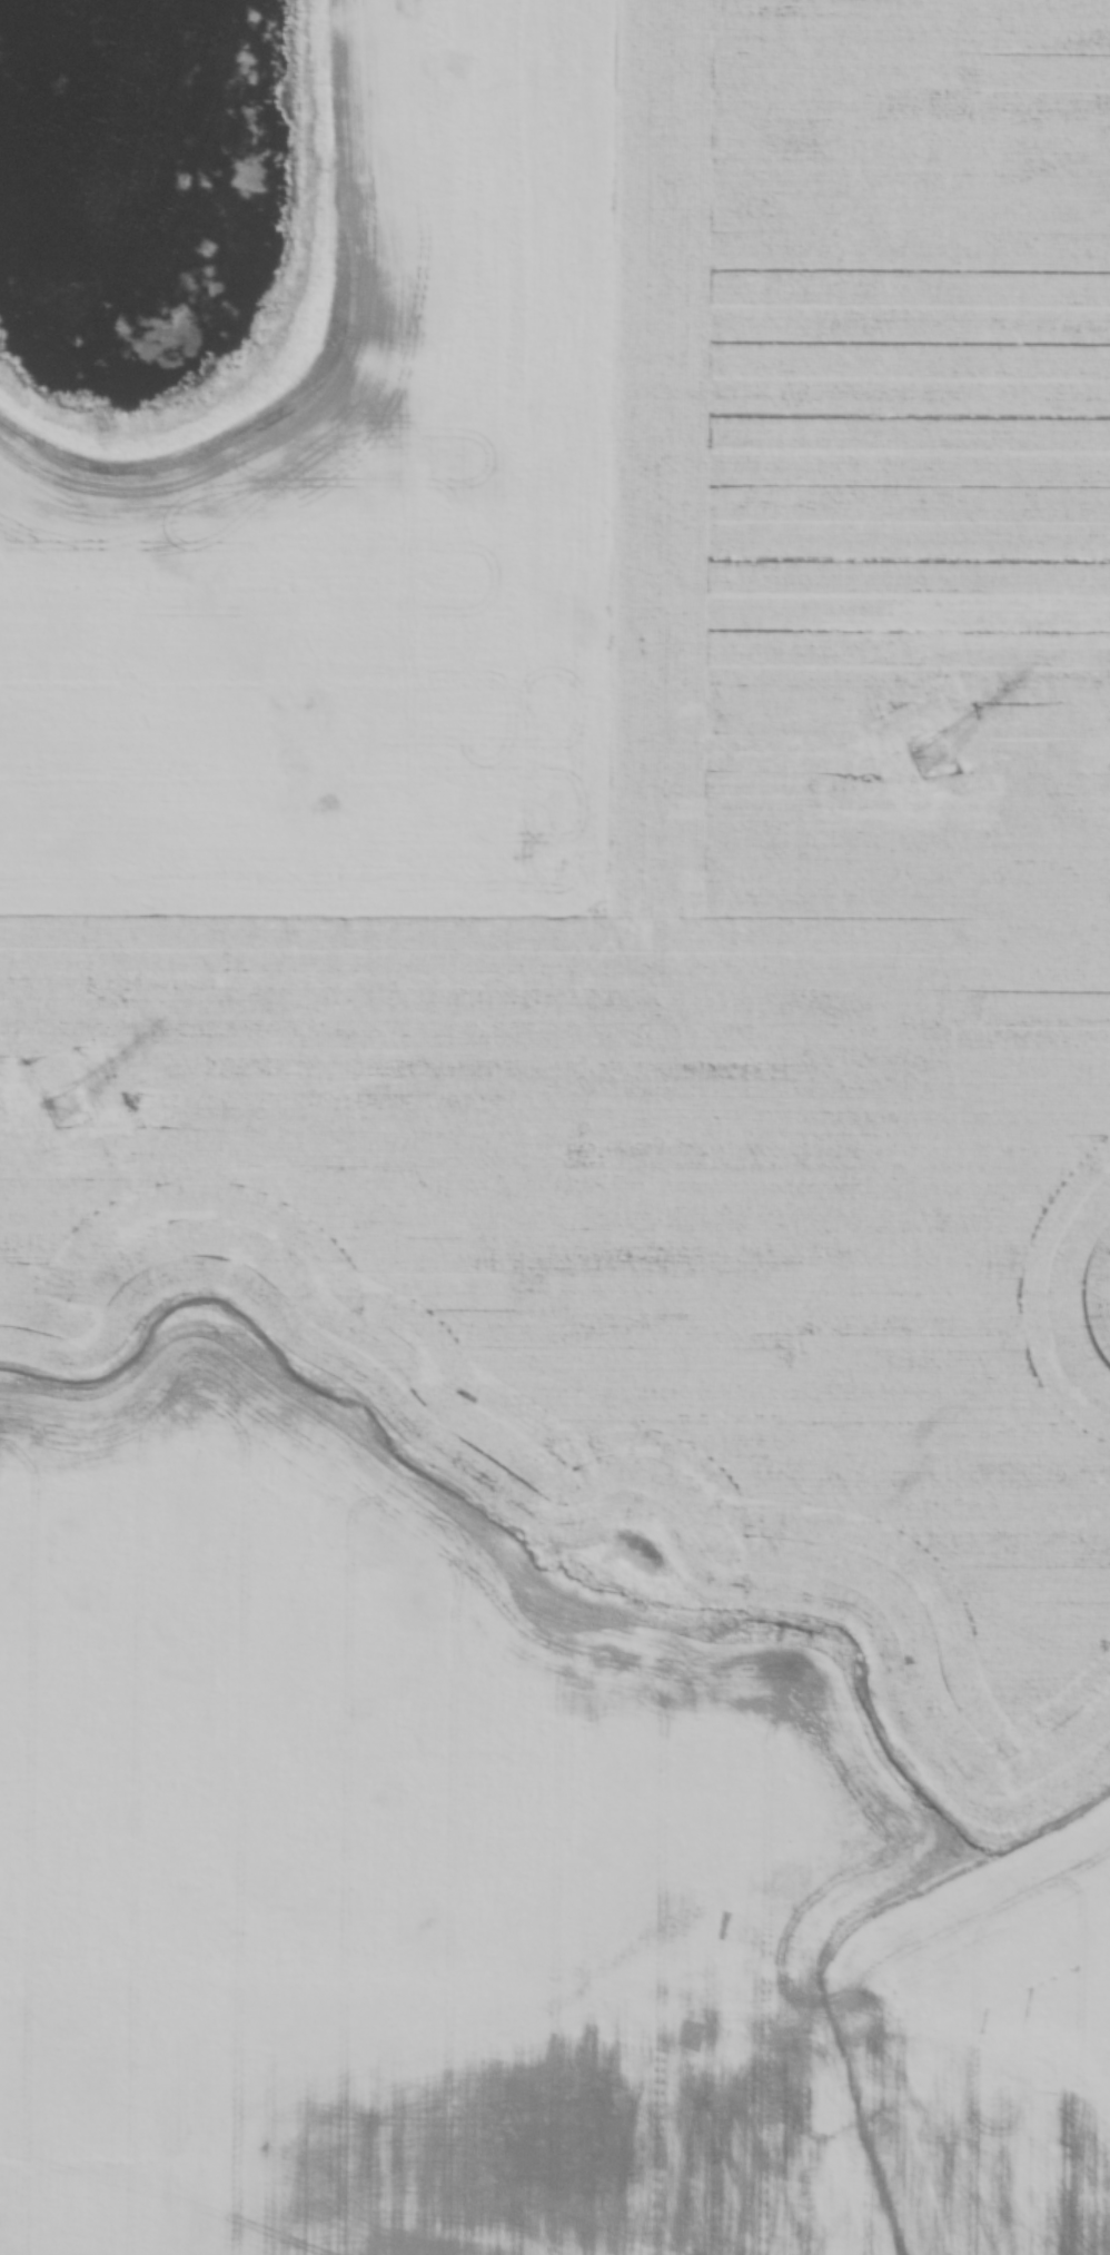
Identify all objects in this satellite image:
power tower: (934, 758)
power tower: (67, 1106)

